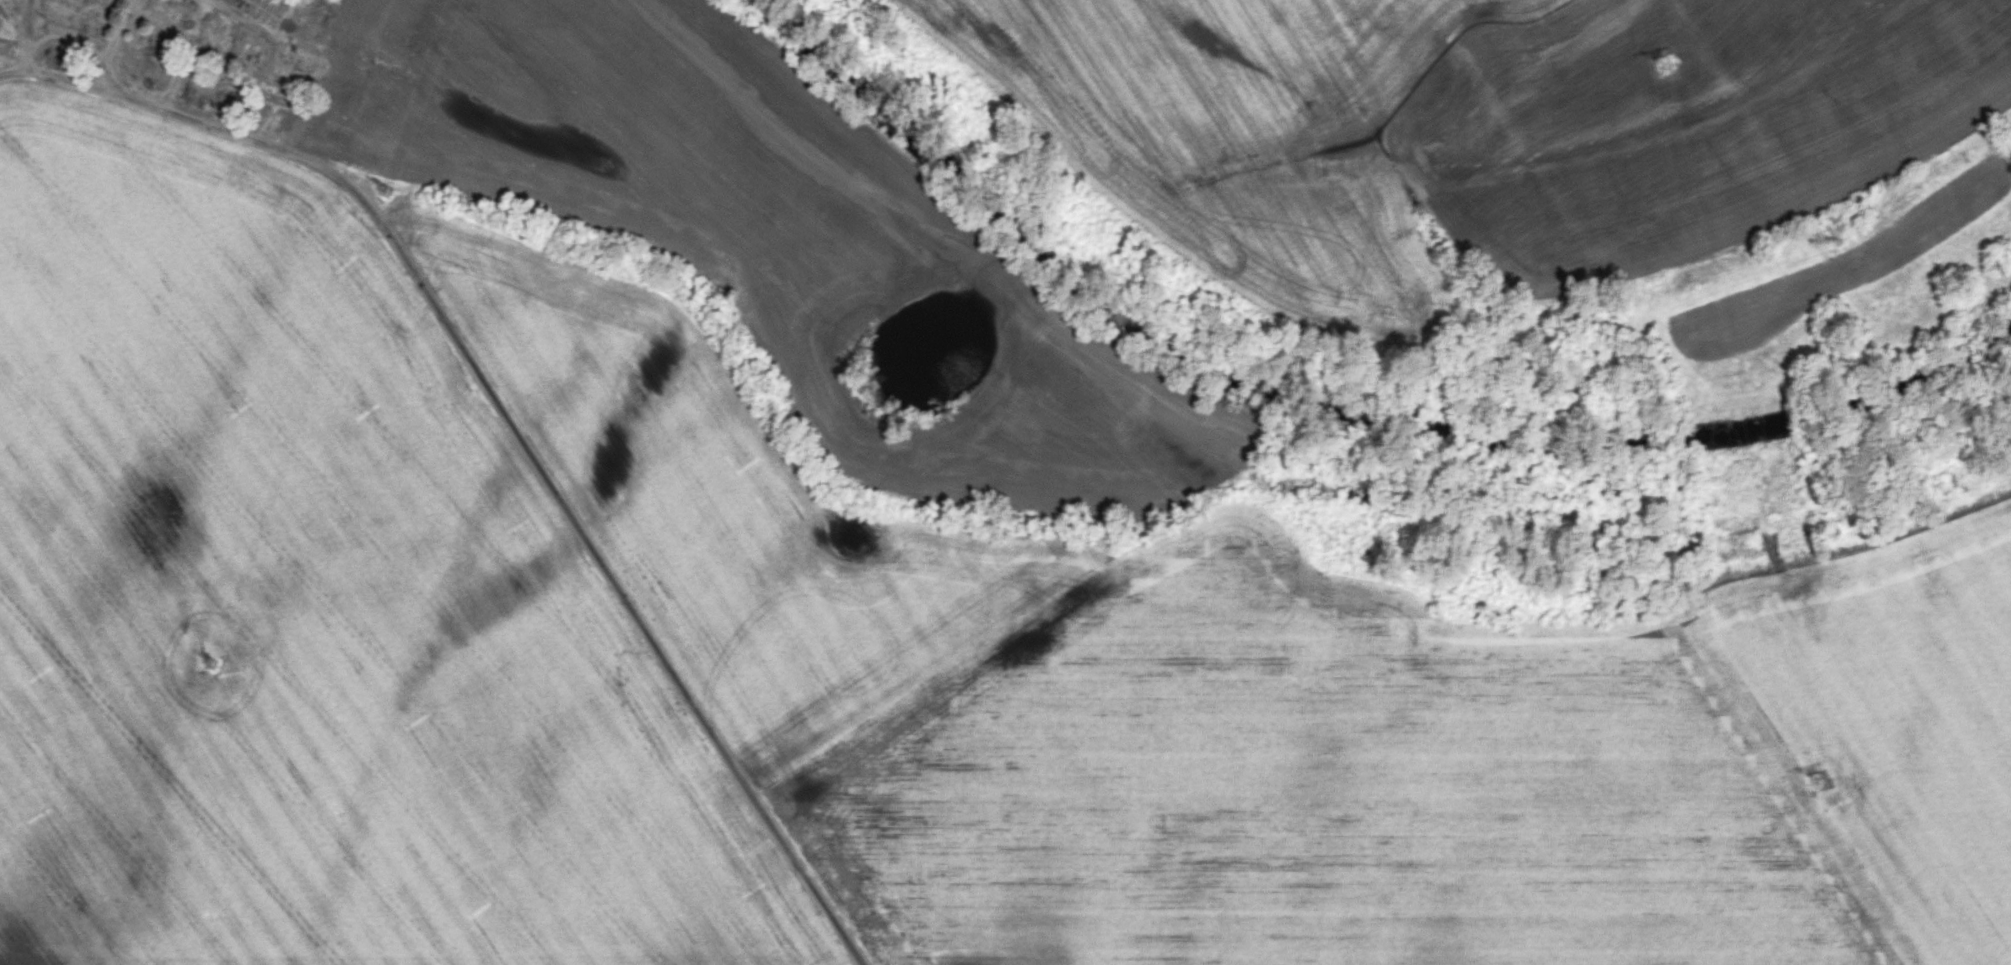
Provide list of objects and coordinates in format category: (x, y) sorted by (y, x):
building: (261, 9)
road: (21, 35)
road: (120, 45)
road: (184, 57)
power tower: (1660, 63)
crop: (1461, 125)
power tower: (382, 189)
crop: (784, 227)
road: (510, 418)
crop: (310, 611)
power tower: (214, 664)
crop: (1271, 706)
power tower: (1814, 782)

